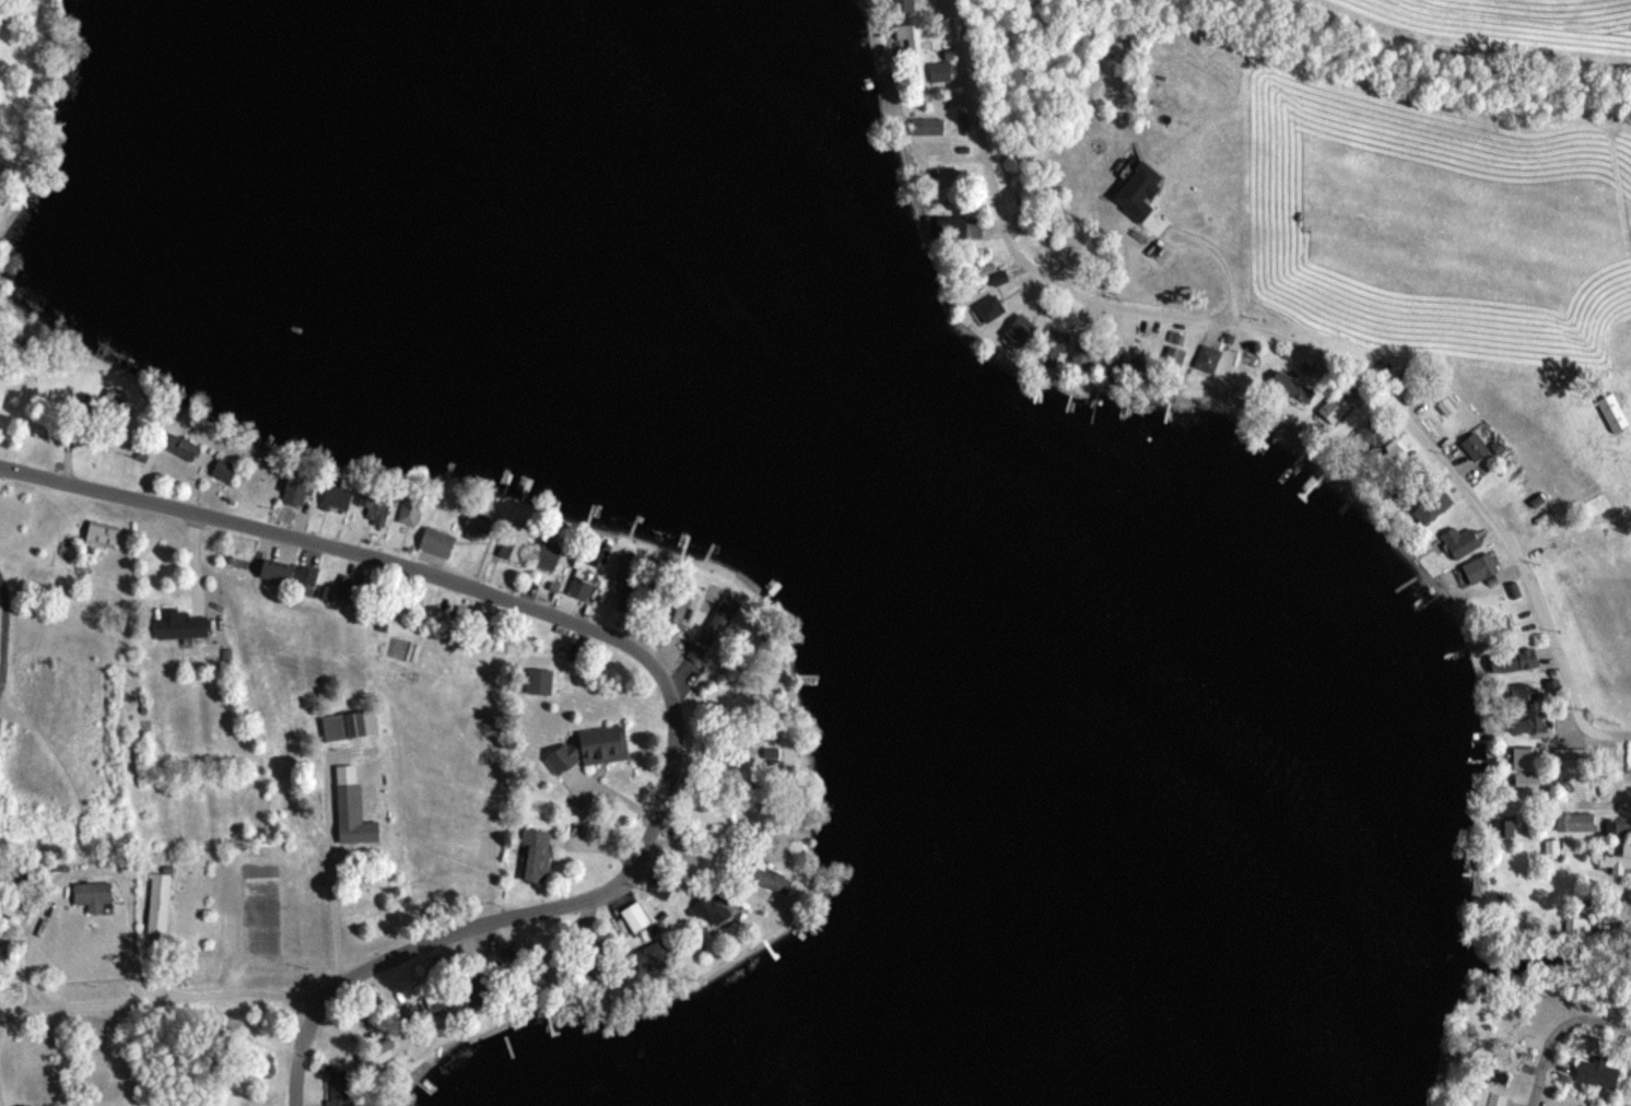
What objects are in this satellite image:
building: (902, 4)
building: (913, 48)
building: (926, 126)
building: (958, 227)
building: (990, 308)
building: (1022, 329)
building: (1053, 343)
road: (1296, 350)
building: (1082, 354)
building: (1174, 357)
building: (1207, 360)
building: (1295, 381)
building: (1612, 411)
building: (1373, 432)
building: (179, 446)
building: (1474, 446)
building: (1393, 454)
building: (224, 469)
building: (297, 490)
building: (337, 495)
building: (373, 505)
building: (1432, 505)
building: (410, 508)
building: (477, 527)
building: (103, 533)
building: (437, 541)
building: (515, 541)
building: (1460, 541)
building: (549, 552)
building: (1480, 567)
building: (277, 570)
building: (306, 575)
building: (626, 575)
building: (583, 576)
building: (682, 609)
building: (180, 623)
road: (652, 656)
building: (1514, 660)
building: (539, 681)
building: (1524, 691)
building: (1528, 721)
building: (350, 725)
building: (592, 748)
building: (1571, 756)
building: (1526, 757)
building: (1526, 783)
building: (353, 815)
building: (1573, 822)
building: (1510, 826)
building: (1616, 827)
building: (1551, 849)
building: (537, 855)
building: (1616, 858)
road: (74, 879)
building: (160, 891)
building: (93, 894)
building: (718, 906)
road: (336, 908)
building: (635, 916)
building: (1576, 926)
building: (652, 954)
building: (497, 978)
road: (157, 996)
building: (435, 1001)
road: (1565, 1045)
building: (1597, 1072)
building: (338, 1087)
building: (1486, 1097)

